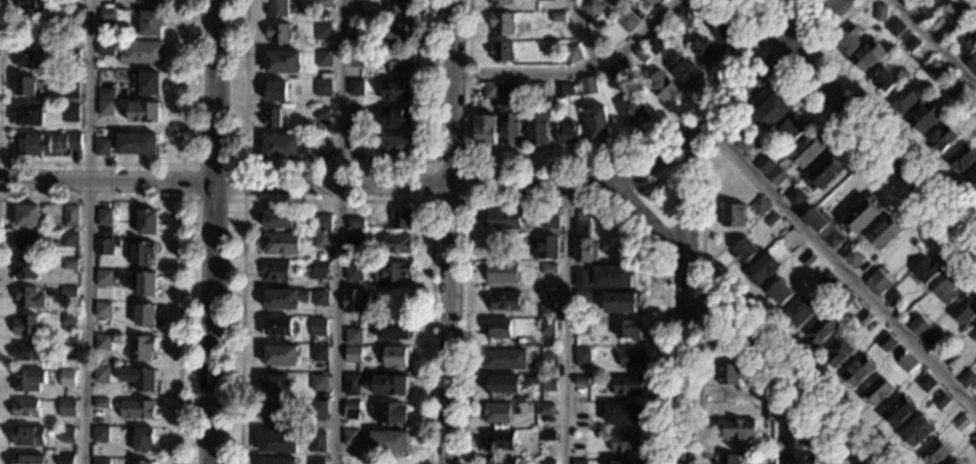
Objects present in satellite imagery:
building: (73, 0)
building: (545, 0)
building: (906, 0)
building: (148, 1)
building: (796, 1)
building: (500, 2)
building: (650, 2)
building: (31, 4)
building: (322, 4)
building: (918, 5)
building: (591, 7)
building: (277, 8)
building: (398, 8)
building: (692, 8)
building: (880, 12)
building: (955, 14)
building: (107, 15)
building: (556, 17)
building: (359, 18)
building: (627, 21)
building: (681, 22)
building: (150, 23)
building: (501, 23)
road: (790, 23)
building: (936, 23)
building: (895, 26)
building: (322, 31)
building: (355, 32)
building: (278, 33)
road: (583, 33)
building: (398, 34)
building: (108, 37)
building: (723, 38)
building: (847, 41)
road: (937, 41)
building: (964, 42)
building: (654, 44)
building: (911, 44)
building: (108, 48)
road: (812, 49)
building: (501, 51)
building: (706, 51)
building: (142, 52)
building: (72, 53)
building: (573, 53)
building: (640, 55)
building: (867, 55)
building: (30, 58)
building: (322, 59)
building: (356, 59)
building: (283, 62)
building: (400, 62)
building: (972, 65)
building: (930, 66)
road: (575, 69)
building: (684, 70)
building: (614, 76)
building: (883, 80)
building: (149, 84)
building: (588, 85)
building: (25, 86)
building: (321, 87)
building: (663, 87)
building: (355, 88)
building: (951, 88)
building: (491, 89)
building: (70, 90)
building: (508, 90)
building: (563, 90)
building: (275, 91)
building: (397, 91)
building: (537, 91)
building: (106, 94)
road: (733, 99)
building: (903, 99)
building: (969, 106)
building: (105, 108)
building: (631, 110)
road: (870, 110)
building: (144, 111)
building: (770, 112)
building: (69, 113)
building: (321, 114)
building: (30, 115)
building: (355, 115)
building: (925, 117)
building: (273, 118)
building: (396, 118)
road: (859, 123)
building: (597, 124)
building: (508, 125)
building: (792, 128)
building: (538, 129)
building: (485, 130)
building: (567, 134)
building: (942, 138)
building: (45, 143)
building: (136, 143)
building: (746, 143)
building: (354, 144)
building: (279, 146)
building: (398, 146)
building: (101, 148)
building: (321, 148)
road: (701, 151)
road: (701, 151)
building: (806, 151)
building: (961, 158)
road: (172, 163)
building: (765, 163)
road: (584, 164)
road: (339, 165)
building: (823, 172)
building: (777, 176)
road: (655, 182)
building: (972, 182)
road: (305, 186)
road: (618, 197)
building: (796, 197)
road: (243, 198)
road: (336, 199)
road: (467, 201)
road: (547, 201)
building: (760, 206)
building: (733, 215)
building: (860, 215)
building: (27, 216)
building: (70, 216)
building: (104, 217)
building: (770, 218)
building: (278, 219)
building: (400, 219)
building: (505, 220)
building: (550, 221)
building: (818, 222)
building: (147, 223)
building: (321, 223)
building: (355, 224)
road: (87, 231)
road: (212, 231)
road: (339, 231)
road: (449, 232)
building: (884, 232)
building: (69, 238)
building: (355, 239)
building: (584, 239)
building: (832, 239)
building: (29, 240)
road: (180, 240)
building: (321, 240)
building: (790, 241)
building: (280, 243)
building: (397, 244)
building: (103, 247)
building: (544, 247)
building: (744, 250)
building: (141, 253)
building: (853, 257)
building: (807, 258)
building: (69, 264)
building: (548, 268)
road: (840, 268)
building: (25, 269)
building: (762, 269)
building: (316, 270)
building: (925, 270)
building: (275, 271)
building: (353, 271)
building: (391, 272)
building: (502, 273)
building: (612, 276)
building: (105, 277)
building: (581, 278)
building: (827, 281)
building: (878, 281)
building: (140, 282)
building: (946, 291)
building: (68, 292)
building: (780, 293)
road: (701, 295)
building: (890, 296)
building: (28, 297)
building: (319, 297)
building: (284, 299)
building: (582, 299)
building: (846, 299)
building: (504, 300)
building: (357, 301)
road: (684, 301)
building: (621, 302)
building: (918, 305)
building: (102, 309)
building: (546, 311)
building: (800, 311)
building: (962, 311)
building: (144, 315)
building: (68, 319)
building: (865, 319)
road: (739, 321)
road: (566, 324)
building: (26, 325)
building: (318, 326)
building: (546, 326)
building: (918, 326)
building: (277, 327)
building: (497, 328)
building: (580, 328)
building: (392, 329)
building: (628, 329)
building: (821, 329)
road: (722, 331)
building: (973, 333)
building: (353, 336)
building: (929, 337)
building: (103, 342)
building: (886, 342)
building: (68, 346)
building: (140, 347)
building: (25, 352)
building: (838, 353)
building: (319, 354)
building: (353, 354)
building: (547, 354)
building: (280, 355)
building: (395, 357)
building: (582, 357)
building: (632, 358)
building: (503, 359)
building: (906, 363)
building: (859, 371)
building: (101, 374)
building: (728, 374)
building: (67, 378)
building: (139, 378)
building: (967, 378)
building: (29, 380)
building: (581, 381)
building: (318, 383)
building: (548, 383)
building: (925, 383)
building: (274, 384)
building: (502, 384)
building: (351, 385)
building: (387, 385)
building: (626, 386)
building: (876, 391)
building: (747, 395)
building: (941, 402)
building: (100, 403)
building: (25, 407)
building: (67, 408)
building: (137, 409)
building: (545, 409)
building: (351, 410)
building: (778, 410)
building: (317, 411)
building: (898, 411)
building: (769, 412)
building: (389, 413)
building: (496, 413)
building: (274, 414)
building: (623, 415)
building: (961, 423)
building: (737, 428)
building: (917, 431)
building: (66, 434)
building: (101, 435)
building: (546, 435)
building: (29, 436)
building: (143, 439)
building: (349, 439)
building: (795, 439)
building: (498, 440)
building: (277, 441)
building: (316, 441)
building: (388, 442)
building: (625, 442)
building: (974, 445)
building: (934, 452)
building: (29, 459)
building: (66, 459)
building: (729, 459)
building: (802, 459)
building: (101, 461)
building: (278, 461)
building: (315, 461)
building: (499, 461)
building: (546, 462)
building: (579, 462)
building: (625, 462)
building: (142, 463)
building: (954, 463)

